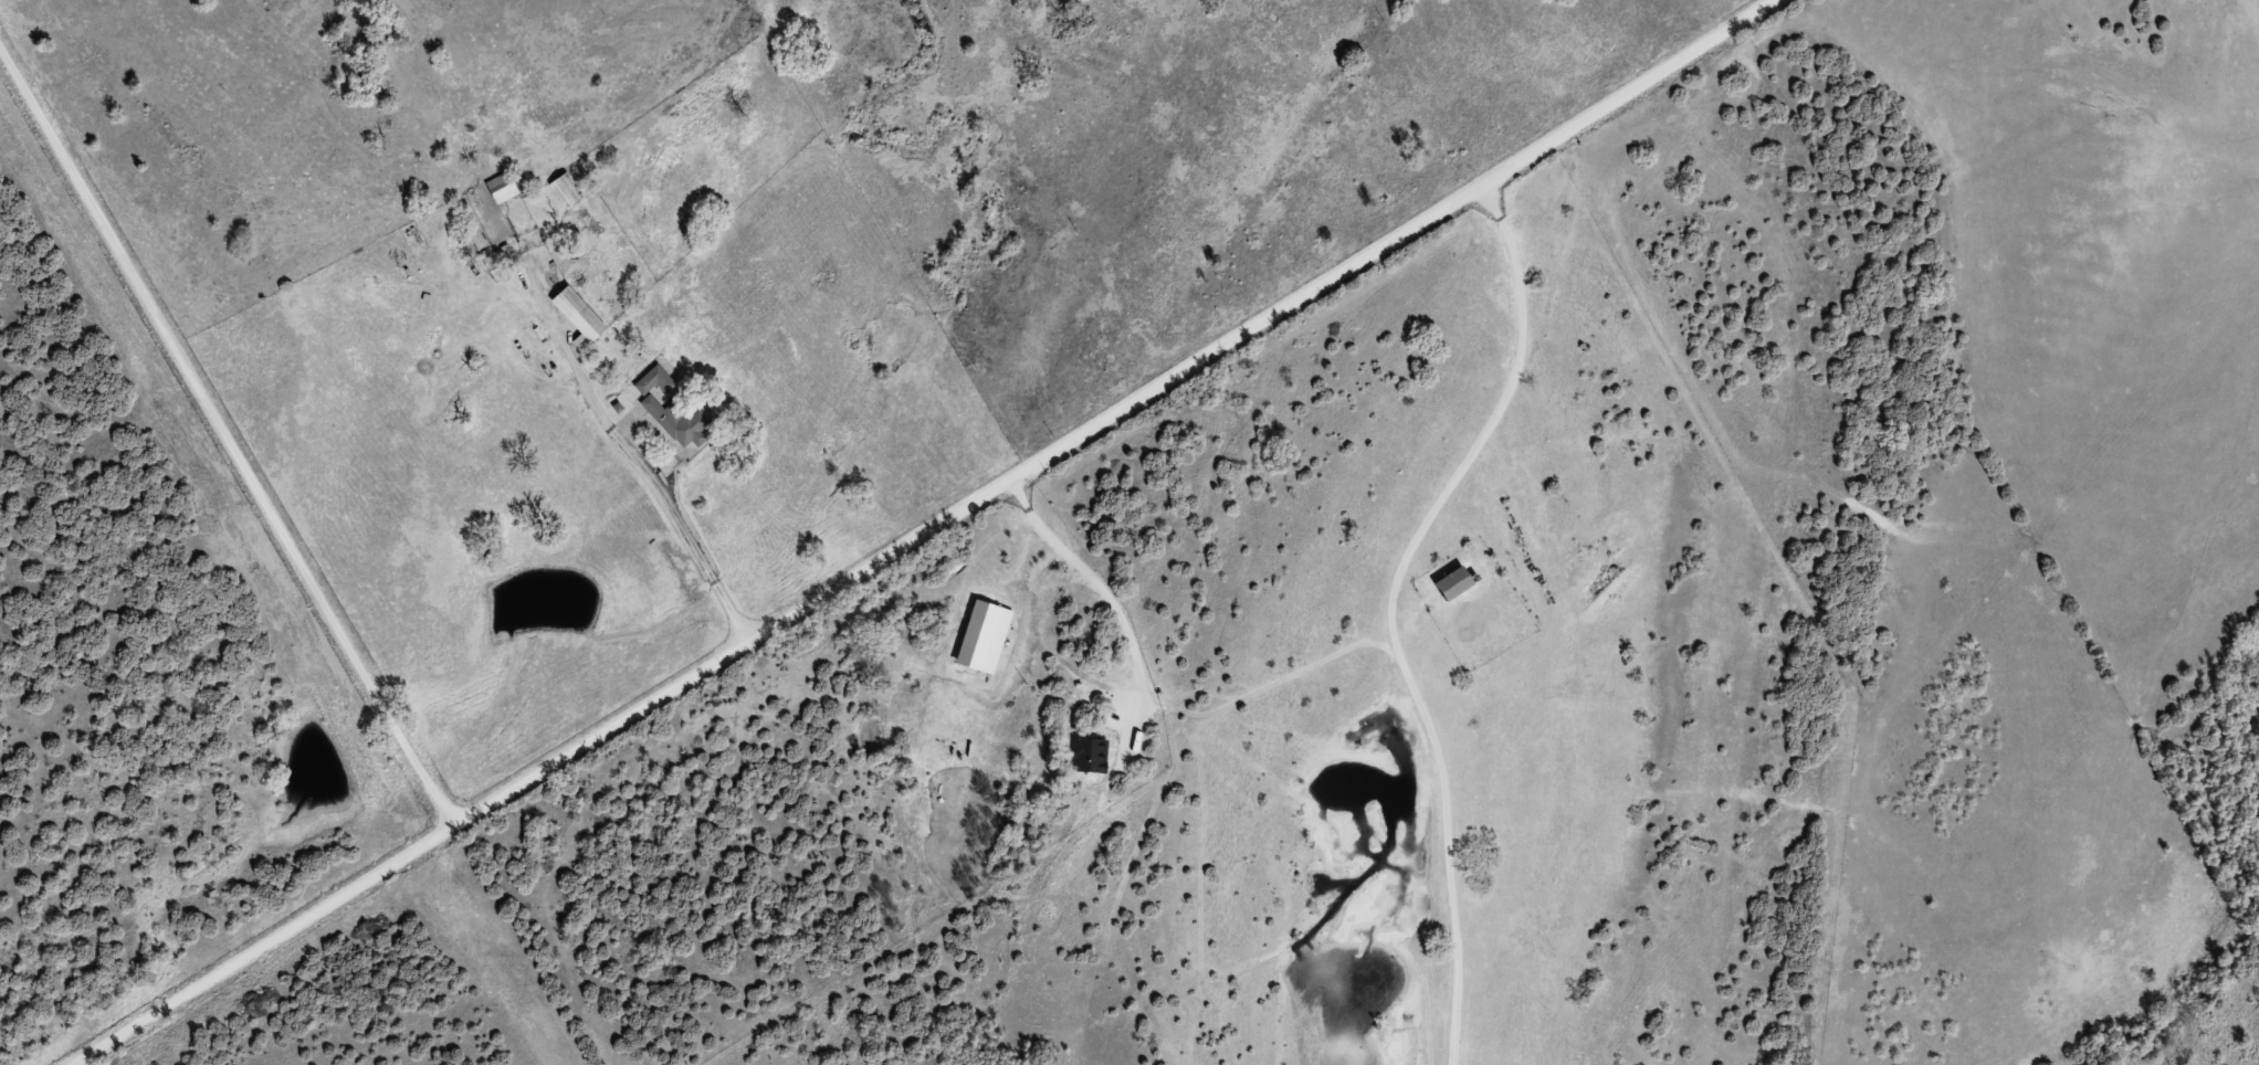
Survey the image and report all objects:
building: (502, 186)
building: (566, 189)
building: (579, 315)
building: (673, 410)
road: (229, 435)
road: (653, 453)
road: (933, 530)
road: (1447, 557)
building: (1454, 581)

